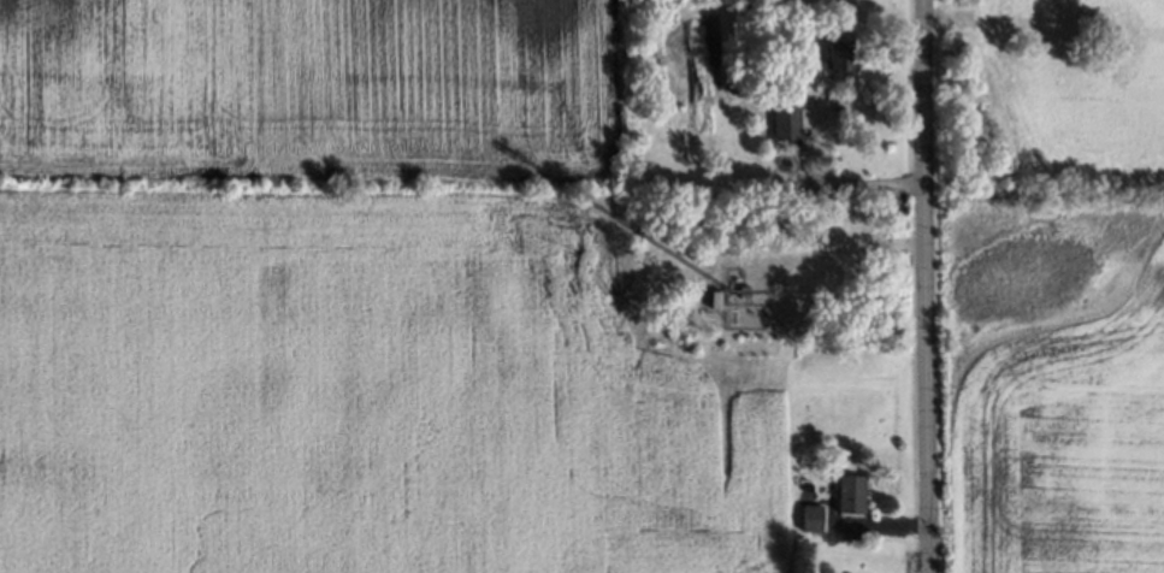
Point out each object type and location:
building: (835, 52)
building: (740, 73)
crop: (308, 87)
building: (780, 122)
road: (928, 286)
building: (738, 289)
building: (711, 295)
building: (727, 314)
building: (845, 491)
building: (803, 500)
building: (806, 515)

